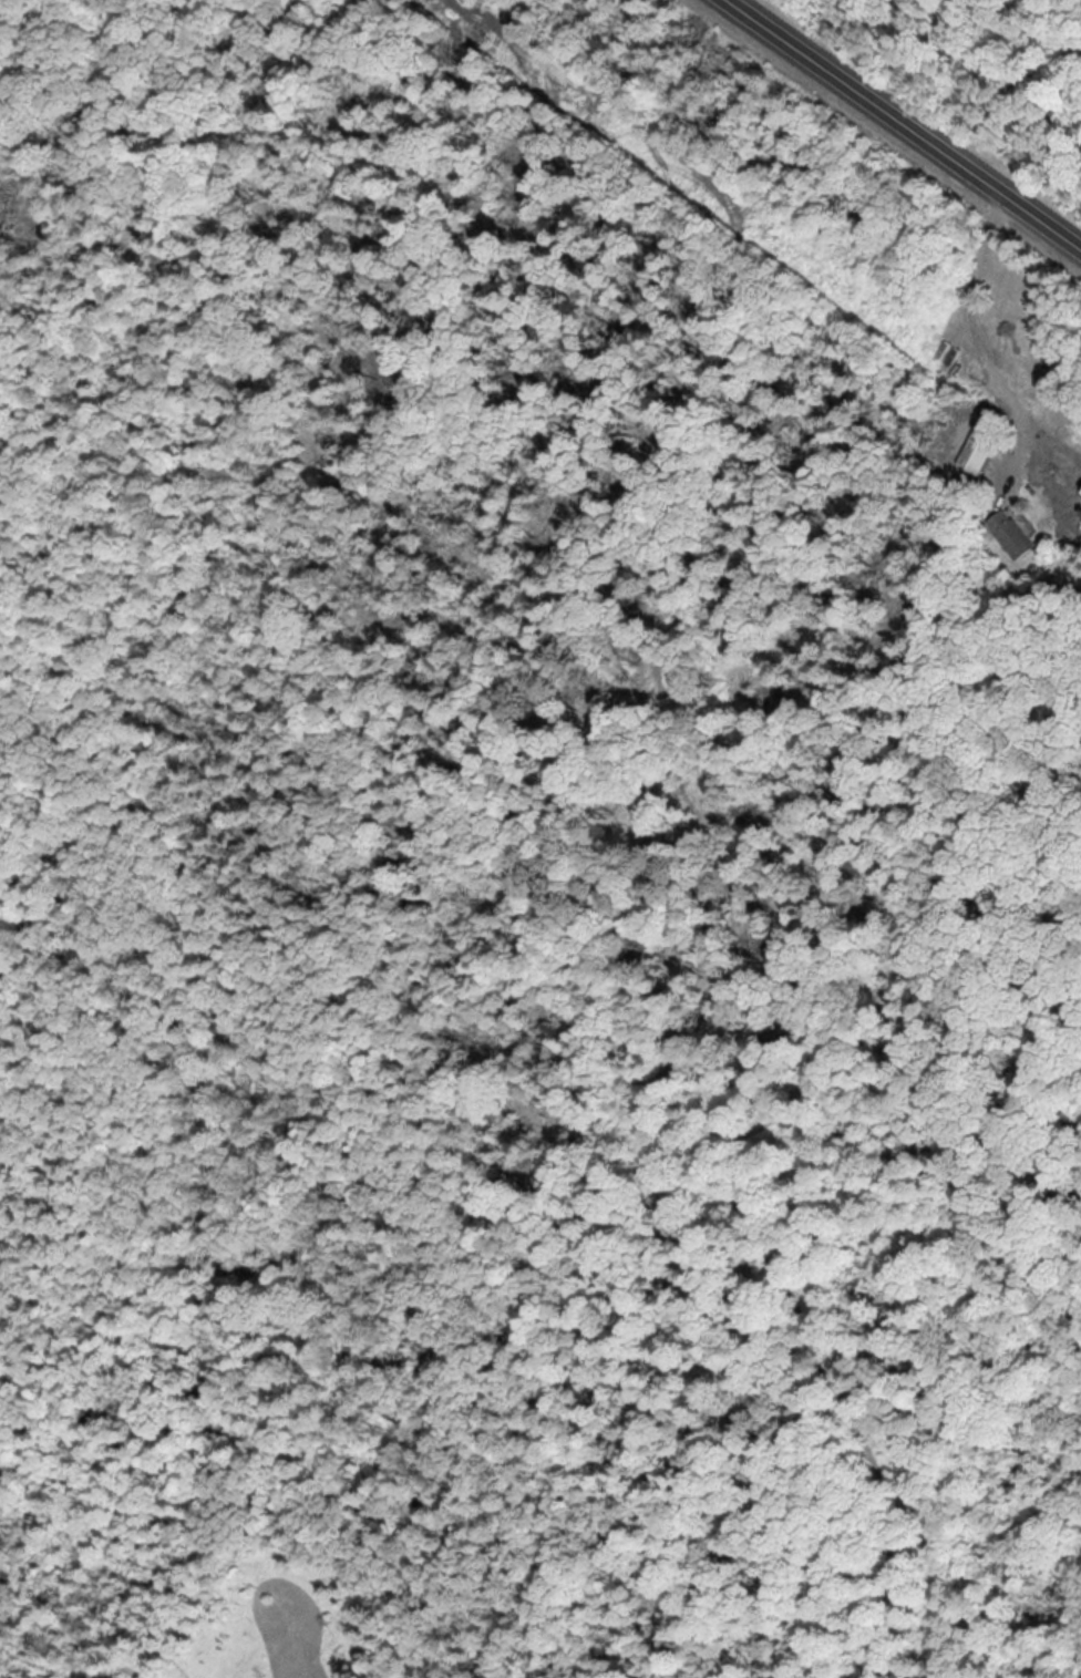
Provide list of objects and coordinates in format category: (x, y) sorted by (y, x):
road: (908, 121)
building: (986, 460)
building: (1016, 536)

